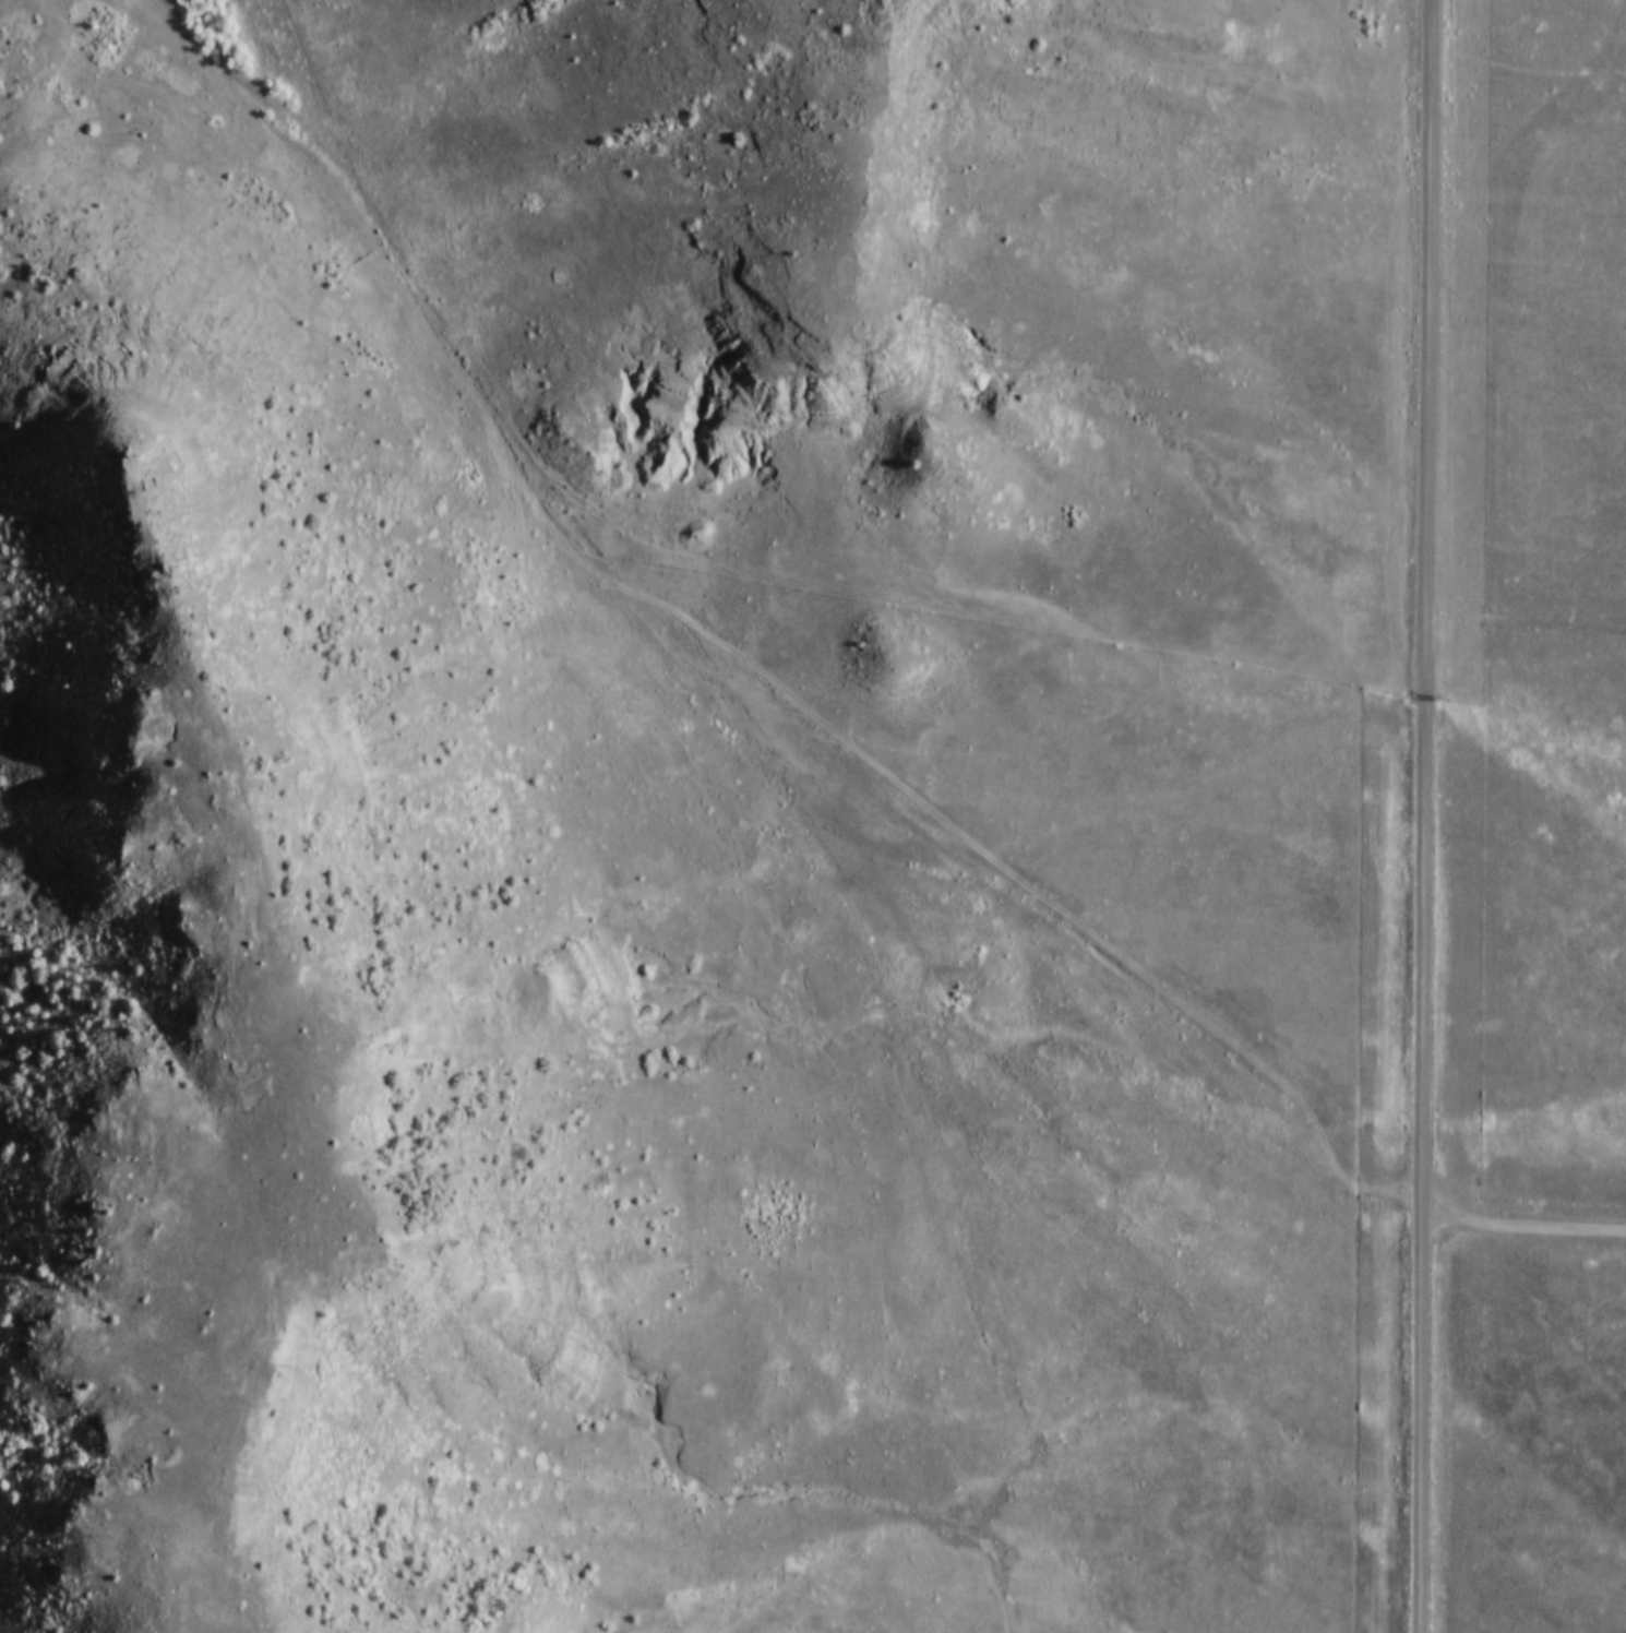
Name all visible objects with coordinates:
road: (1424, 816)
road: (1520, 1232)

